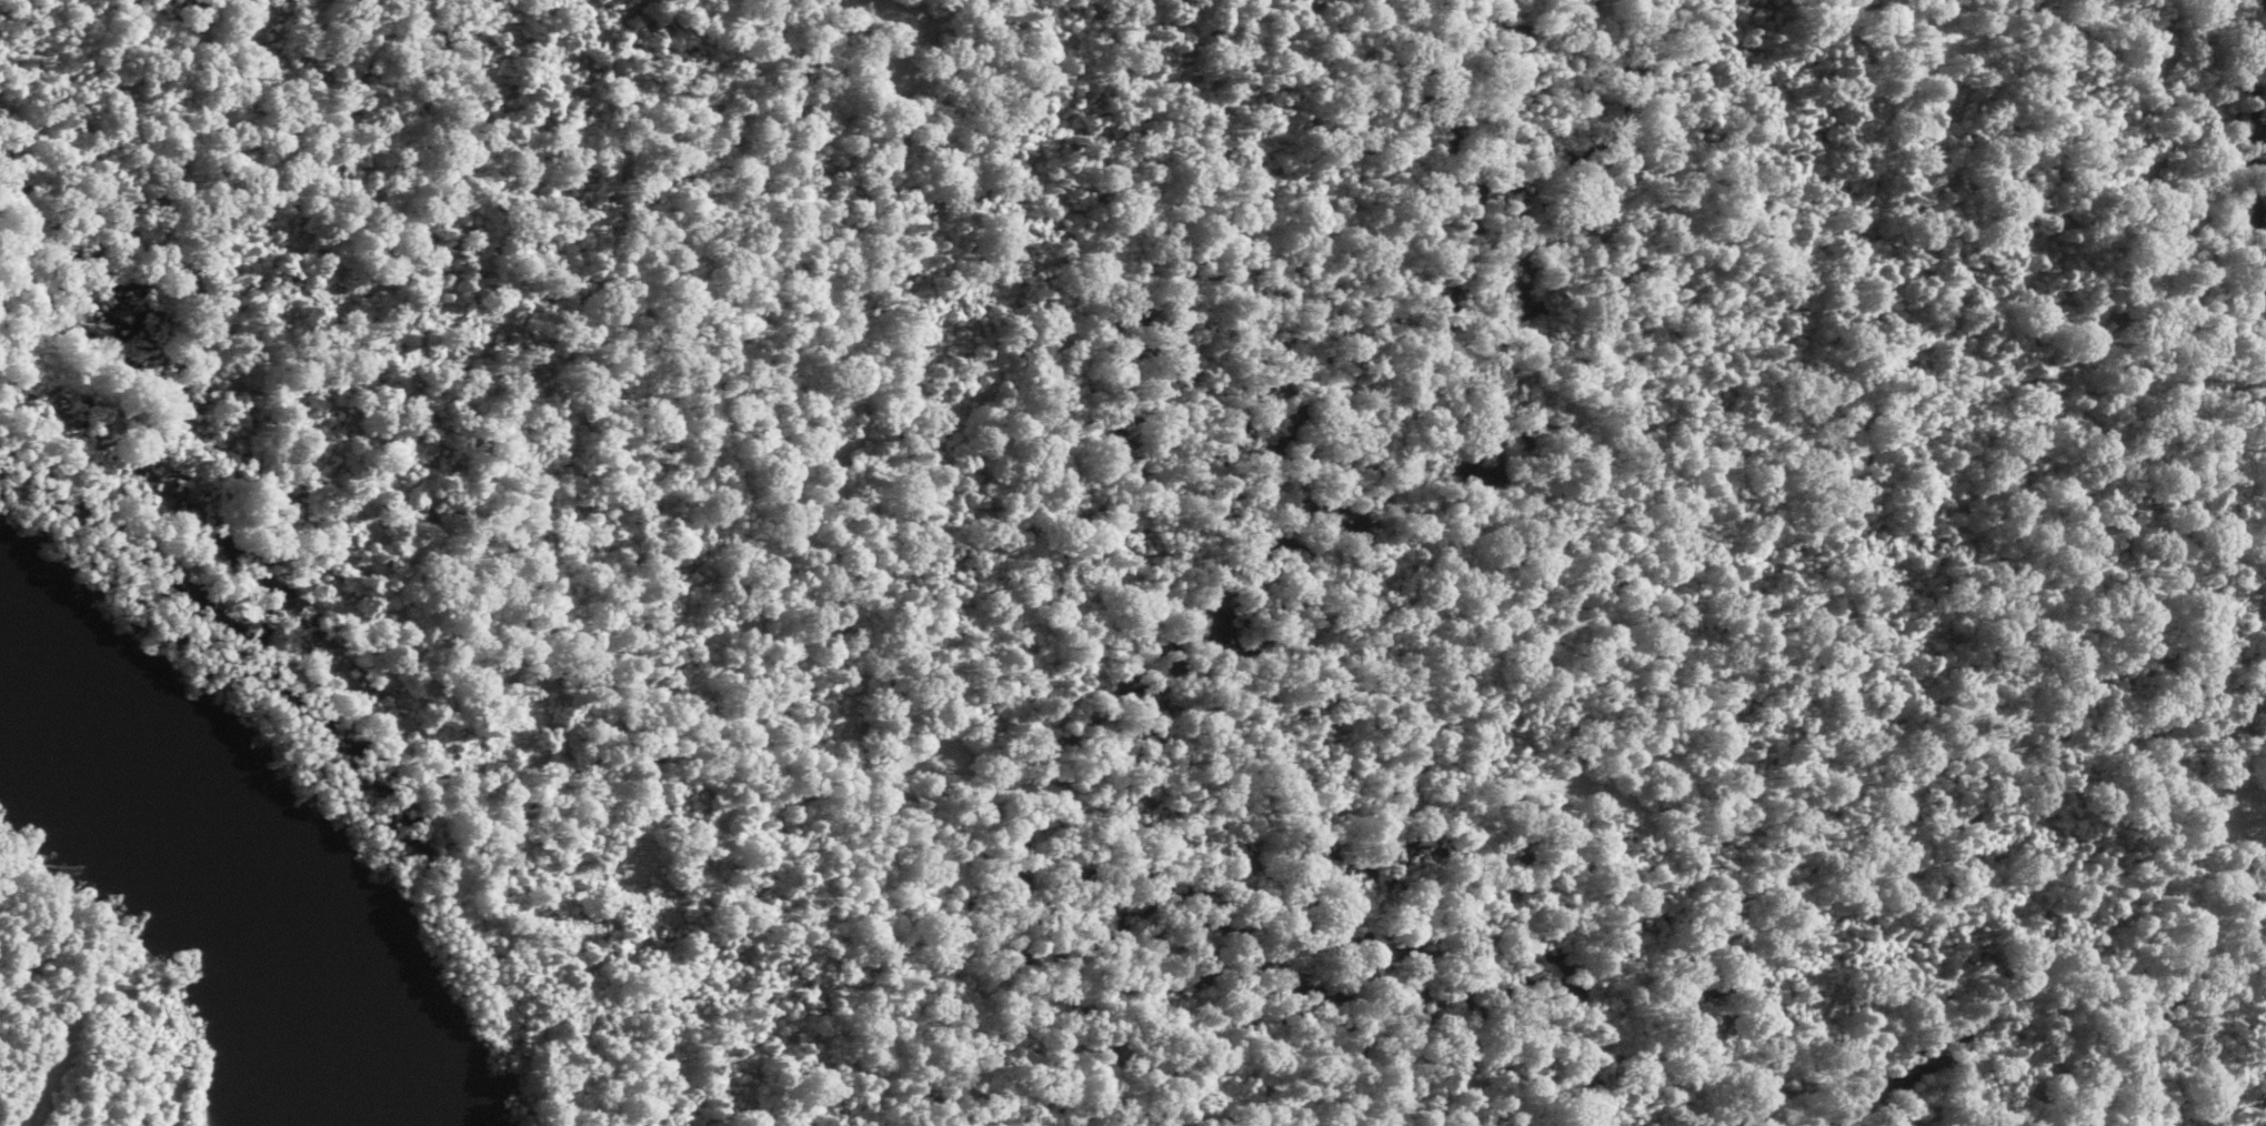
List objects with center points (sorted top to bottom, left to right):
river: (245, 877)

